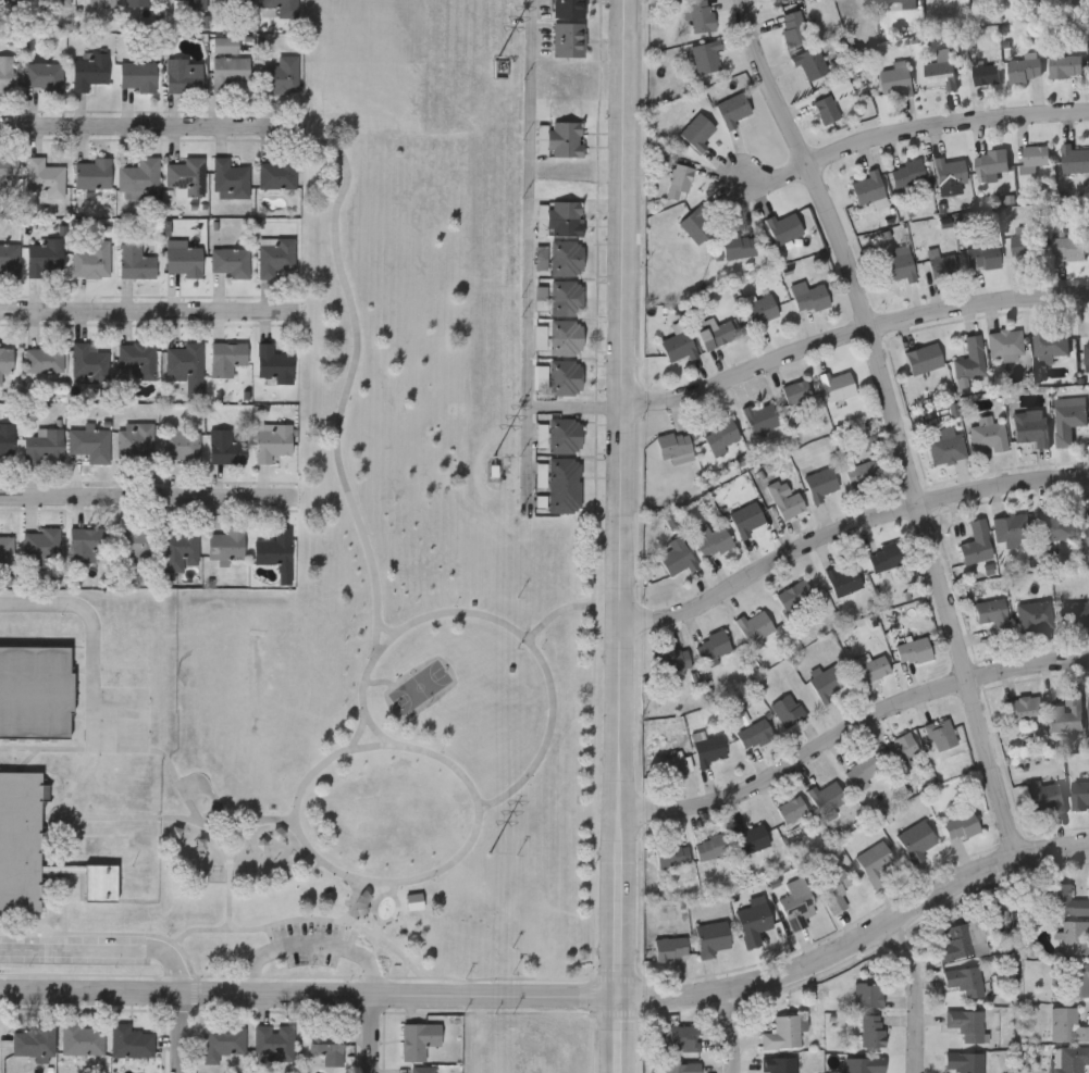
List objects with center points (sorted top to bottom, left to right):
building: (780, 0)
building: (11, 1)
building: (901, 1)
building: (234, 2)
building: (60, 3)
building: (107, 3)
building: (136, 3)
building: (188, 4)
building: (281, 7)
building: (568, 9)
building: (700, 16)
building: (792, 28)
building: (568, 39)
building: (703, 57)
building: (808, 63)
building: (1064, 66)
power tower: (498, 68)
building: (88, 70)
building: (1024, 71)
building: (227, 72)
building: (4, 73)
building: (940, 73)
building: (41, 74)
building: (137, 75)
building: (183, 75)
building: (279, 75)
building: (986, 75)
building: (894, 82)
building: (840, 89)
building: (732, 108)
building: (826, 110)
road: (151, 118)
road: (916, 122)
building: (697, 132)
building: (561, 138)
building: (1034, 158)
building: (1074, 159)
building: (991, 163)
road: (346, 165)
building: (4, 167)
building: (950, 173)
building: (91, 174)
building: (906, 174)
building: (275, 175)
building: (138, 176)
building: (185, 176)
building: (45, 178)
building: (228, 179)
building: (678, 183)
building: (564, 219)
building: (696, 227)
building: (782, 229)
building: (738, 247)
building: (1026, 248)
building: (1068, 248)
road: (529, 250)
building: (982, 255)
building: (274, 258)
building: (566, 258)
building: (45, 260)
building: (9, 261)
building: (90, 261)
building: (183, 261)
building: (134, 262)
building: (230, 262)
building: (942, 266)
building: (898, 269)
building: (566, 297)
building: (807, 298)
road: (145, 305)
building: (759, 310)
road: (852, 324)
building: (714, 334)
building: (565, 336)
building: (1050, 340)
building: (1004, 344)
building: (677, 346)
building: (1086, 353)
building: (225, 358)
building: (5, 359)
building: (44, 359)
building: (136, 359)
building: (923, 359)
building: (970, 360)
building: (86, 362)
building: (272, 363)
building: (184, 365)
building: (564, 376)
building: (837, 385)
building: (795, 392)
road: (576, 404)
building: (759, 419)
road: (905, 419)
building: (1067, 419)
building: (1030, 427)
building: (565, 435)
building: (721, 437)
building: (987, 437)
building: (271, 440)
building: (134, 441)
building: (7, 444)
building: (88, 444)
building: (180, 444)
building: (44, 446)
road: (335, 446)
building: (673, 447)
building: (224, 448)
building: (946, 449)
power tower: (492, 452)
building: (862, 473)
building: (820, 484)
building: (561, 485)
road: (143, 494)
building: (789, 506)
building: (746, 519)
road: (847, 520)
building: (1055, 525)
building: (1010, 528)
road: (622, 536)
building: (1088, 537)
building: (710, 540)
building: (85, 541)
building: (224, 544)
building: (976, 544)
building: (132, 547)
building: (40, 548)
building: (177, 549)
building: (5, 551)
building: (275, 553)
building: (884, 558)
building: (675, 559)
building: (842, 578)
building: (795, 595)
road: (447, 608)
road: (550, 614)
building: (1074, 614)
building: (992, 615)
building: (1035, 616)
park: (398, 619)
building: (125, 622)
building: (754, 626)
building: (11, 627)
road: (89, 634)
building: (165, 635)
building: (711, 646)
building: (125, 647)
road: (378, 649)
building: (913, 650)
road: (441, 659)
building: (671, 660)
building: (870, 667)
building: (125, 676)
road: (362, 676)
building: (827, 685)
building: (165, 690)
building: (34, 693)
road: (387, 696)
building: (1023, 710)
building: (787, 711)
road: (851, 719)
building: (1062, 719)
road: (370, 723)
road: (356, 727)
road: (545, 733)
building: (754, 735)
building: (940, 735)
building: (901, 748)
building: (708, 750)
building: (861, 770)
building: (109, 773)
road: (468, 782)
building: (1043, 796)
building: (1080, 796)
building: (826, 798)
building: (106, 803)
building: (792, 811)
building: (961, 826)
building: (752, 838)
building: (917, 843)
building: (106, 844)
building: (711, 848)
building: (34, 849)
power tower: (488, 854)
building: (671, 856)
building: (877, 865)
building: (833, 890)
building: (1064, 901)
building: (797, 908)
building: (755, 925)
road: (372, 932)
building: (1074, 937)
building: (714, 939)
road: (312, 943)
building: (955, 944)
road: (106, 948)
building: (670, 948)
road: (405, 970)
building: (961, 980)
building: (1079, 980)
road: (925, 988)
building: (866, 995)
road: (560, 996)
building: (964, 1024)
building: (1066, 1026)
road: (729, 1031)
building: (870, 1031)
road: (186, 1032)
road: (378, 1033)
building: (781, 1034)
building: (682, 1038)
building: (82, 1039)
building: (418, 1040)
building: (34, 1041)
building: (129, 1041)
building: (222, 1041)
building: (274, 1041)
building: (327, 1049)
building: (1068, 1059)
building: (963, 1062)
building: (777, 1064)
building: (863, 1065)
building: (680, 1068)
building: (421, 1070)

